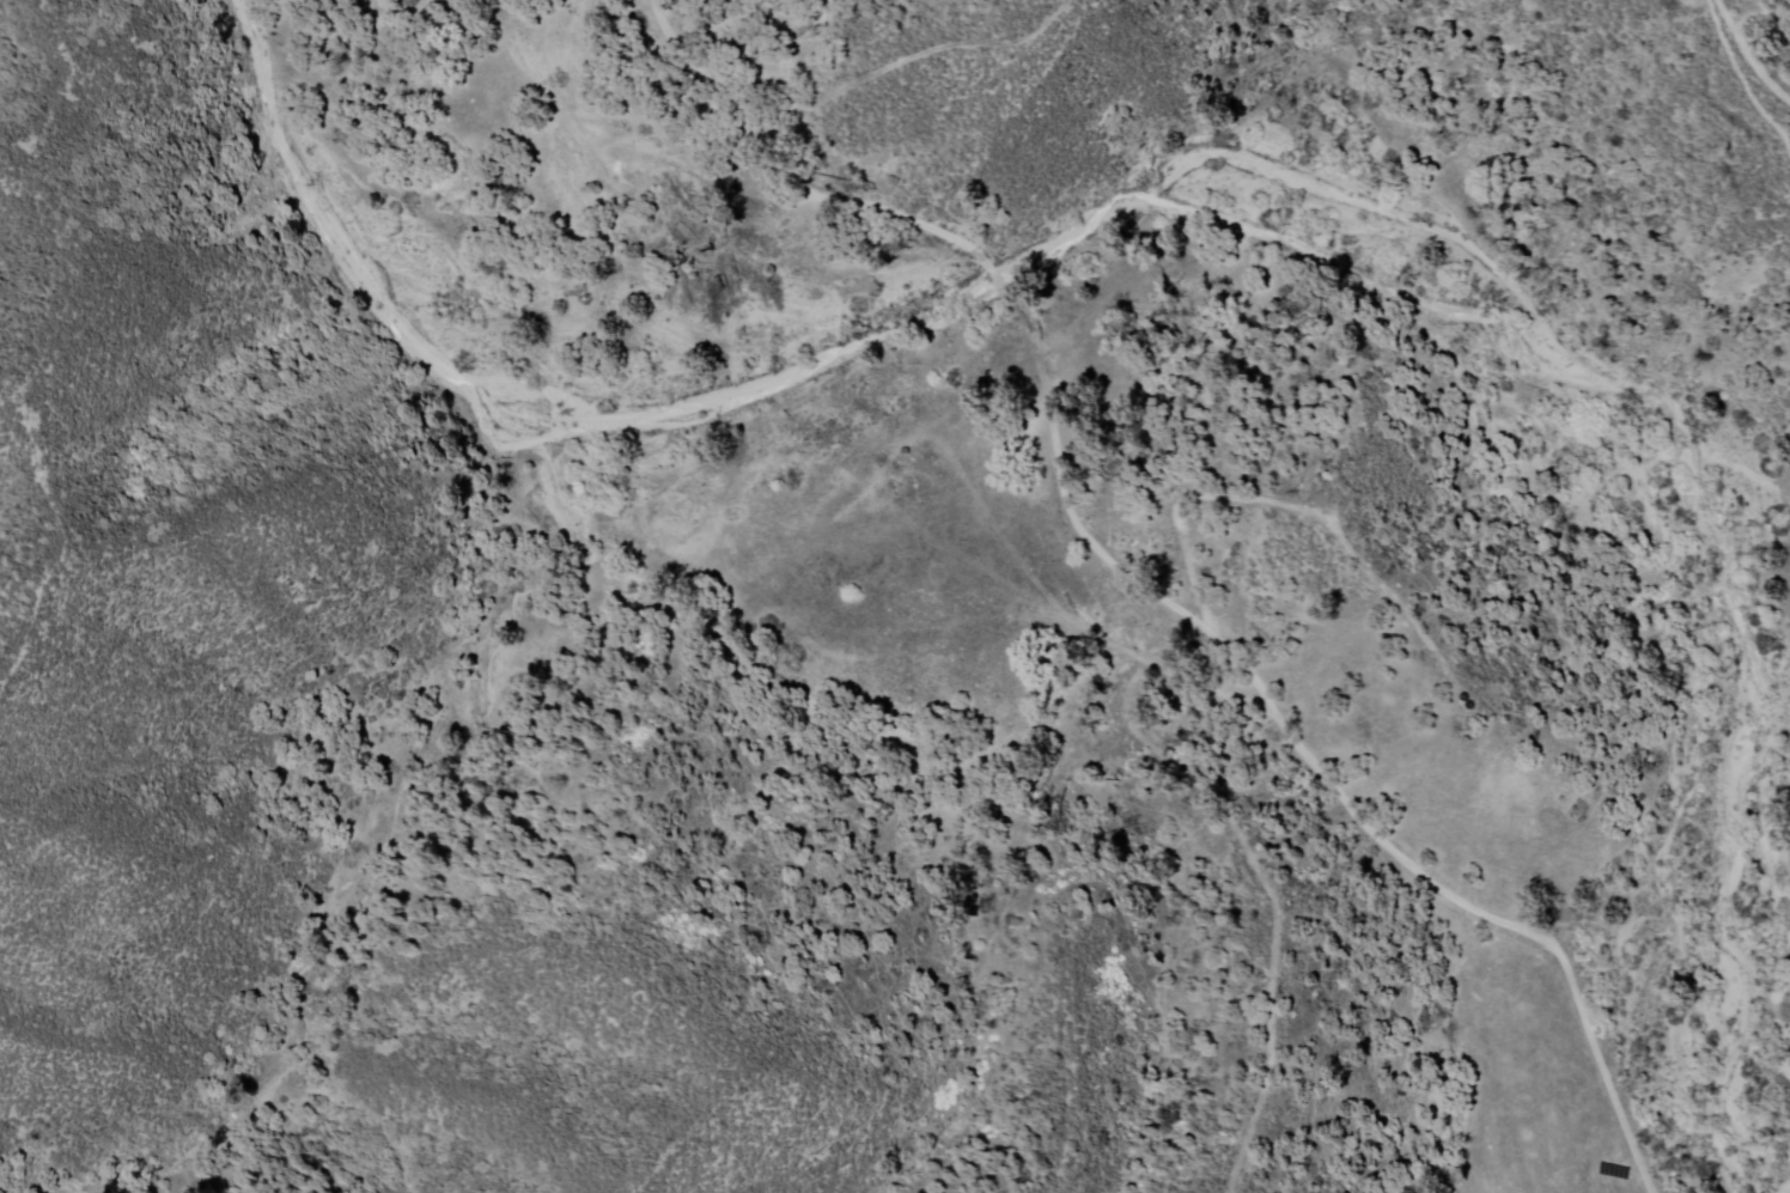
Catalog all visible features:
road: (1138, 588)

